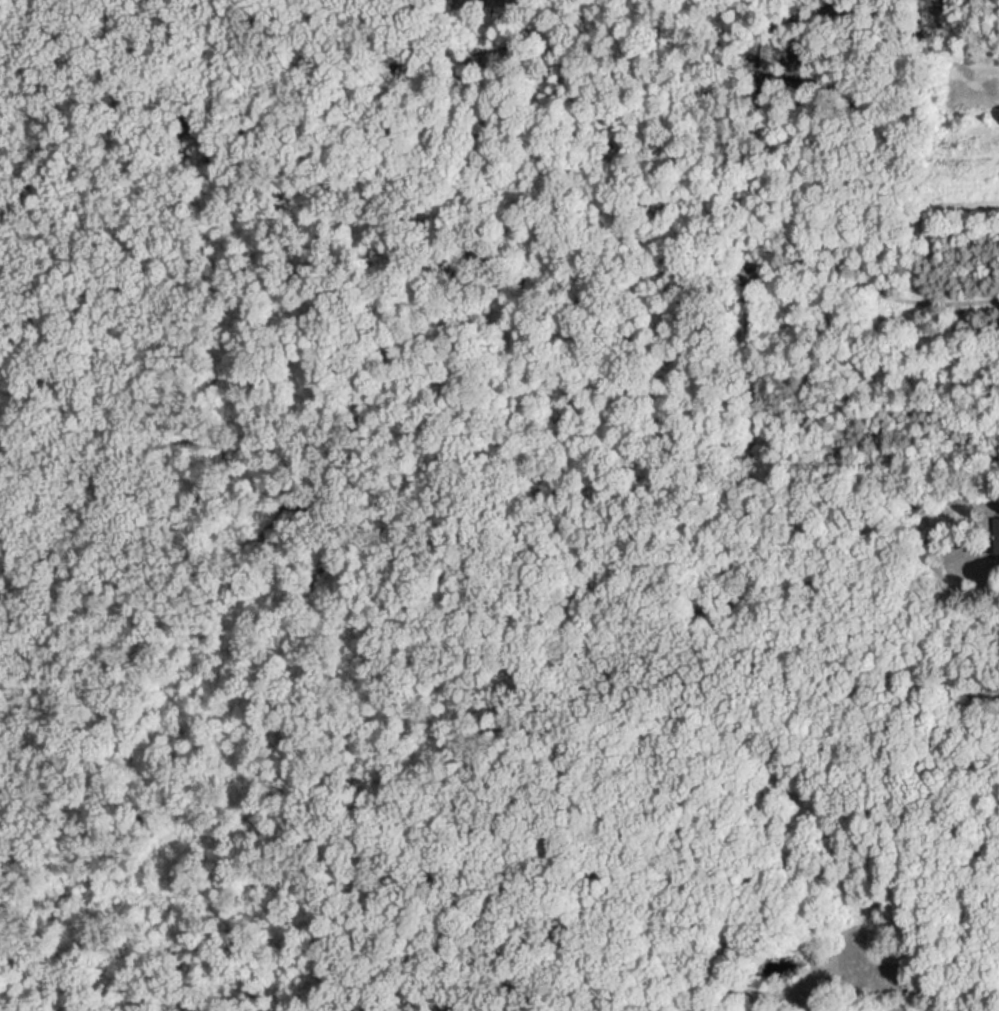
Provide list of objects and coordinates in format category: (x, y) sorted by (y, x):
building: (995, 524)

